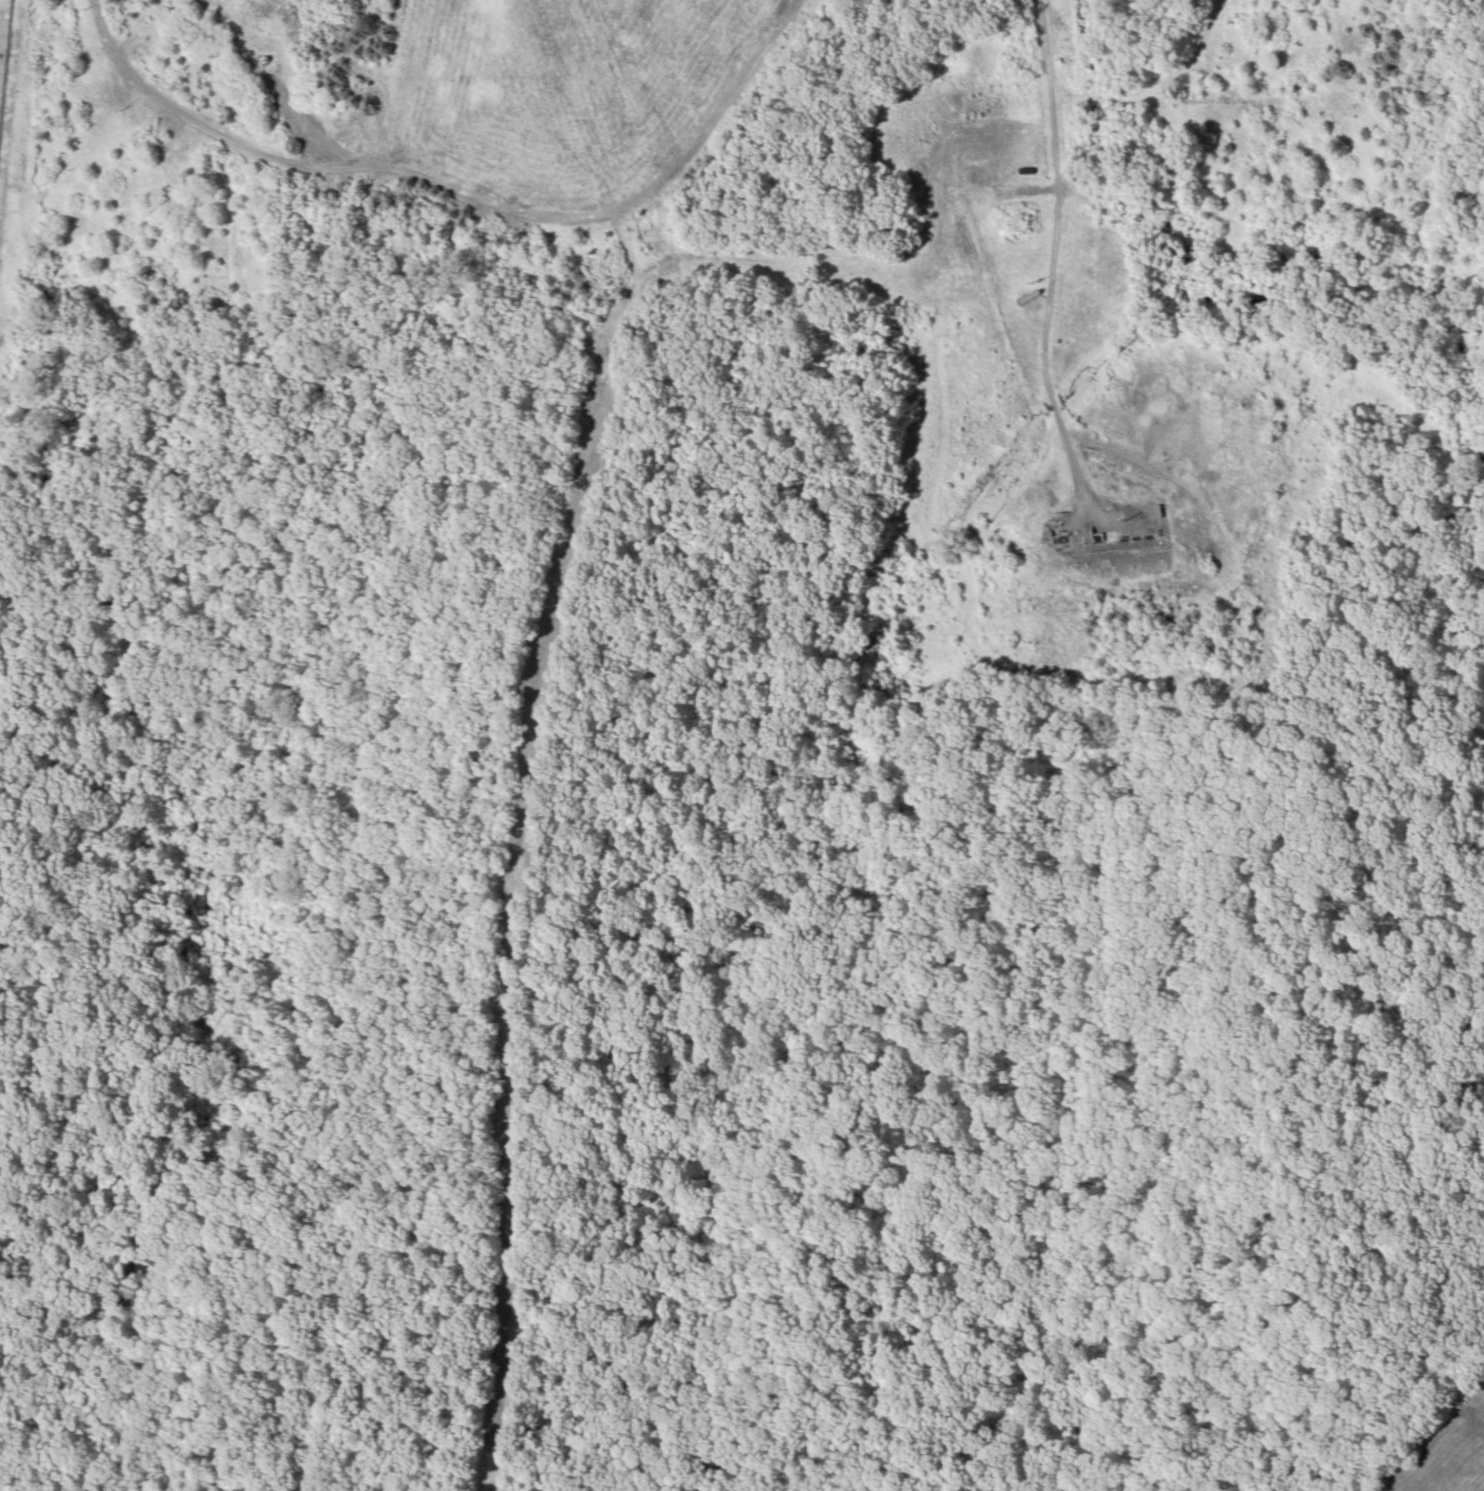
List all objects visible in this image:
road: (1053, 256)

